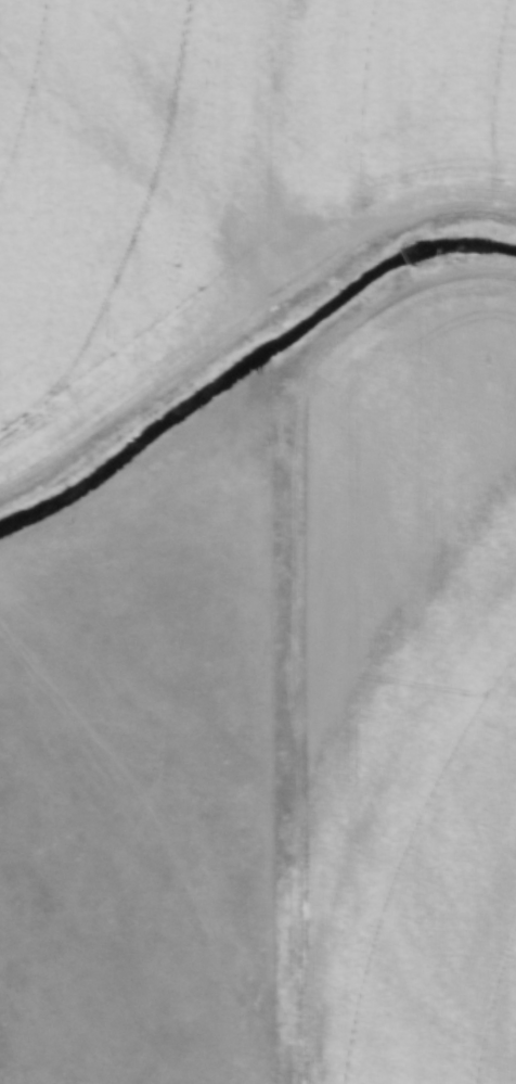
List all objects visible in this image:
crop: (214, 162)
road: (248, 320)
crop: (415, 690)

